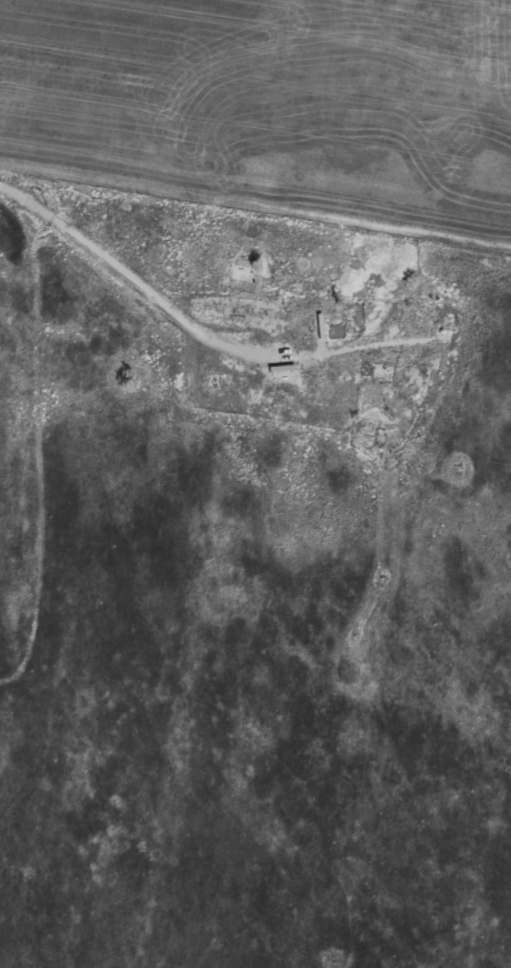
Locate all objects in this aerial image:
crop: (270, 109)
road: (102, 258)

